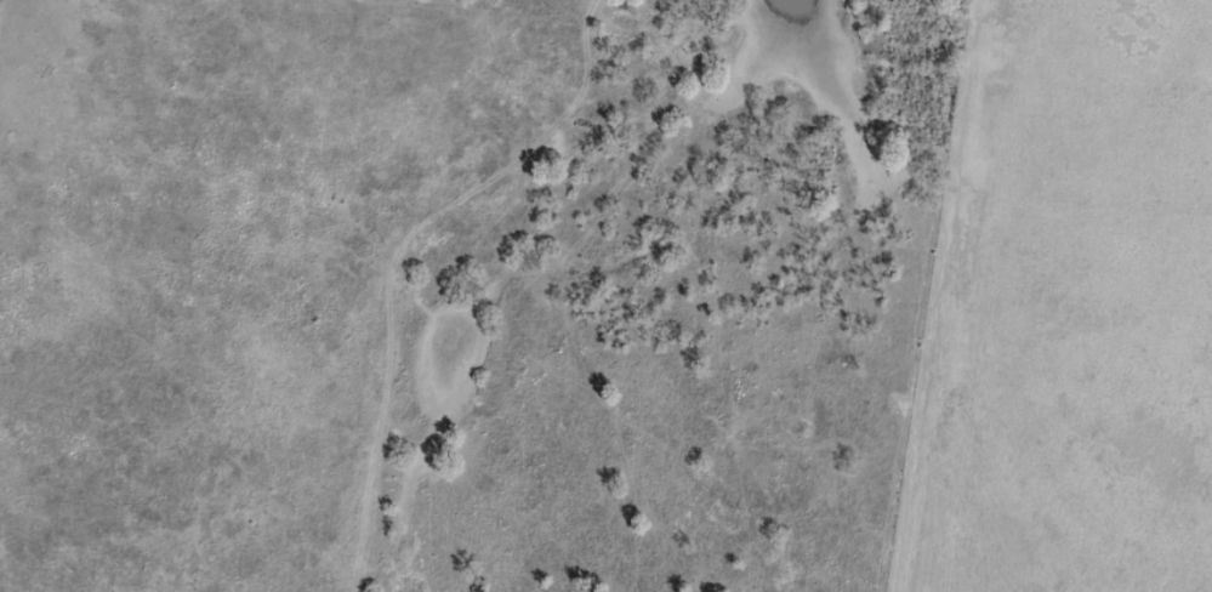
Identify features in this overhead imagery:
road: (460, 266)
road: (648, 368)

